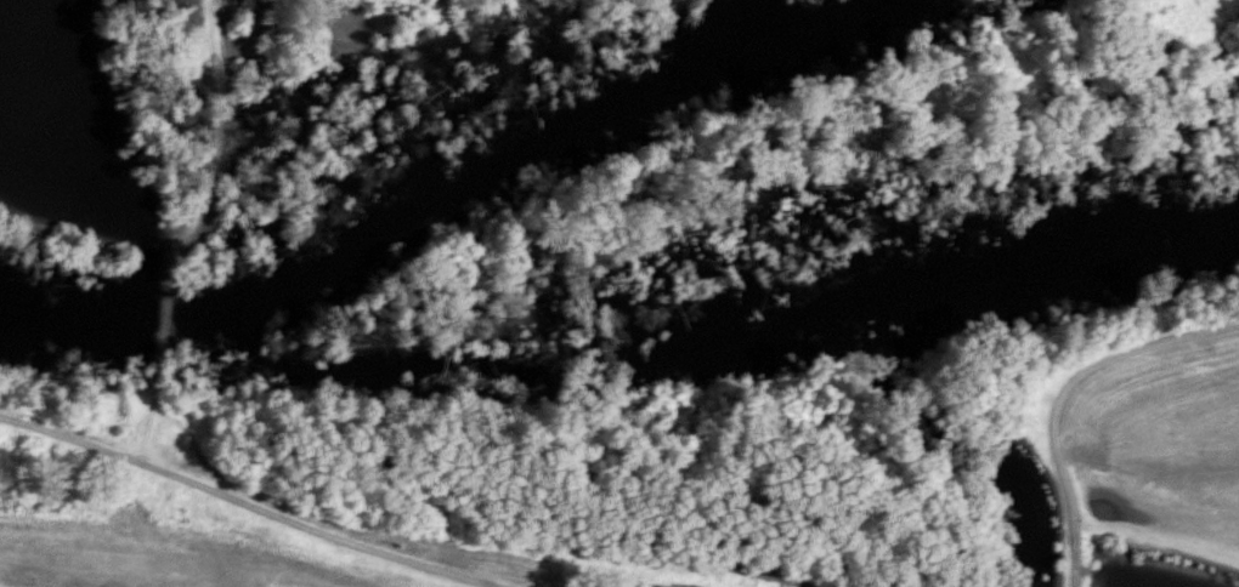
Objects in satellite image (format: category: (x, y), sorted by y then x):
road: (1058, 393)

